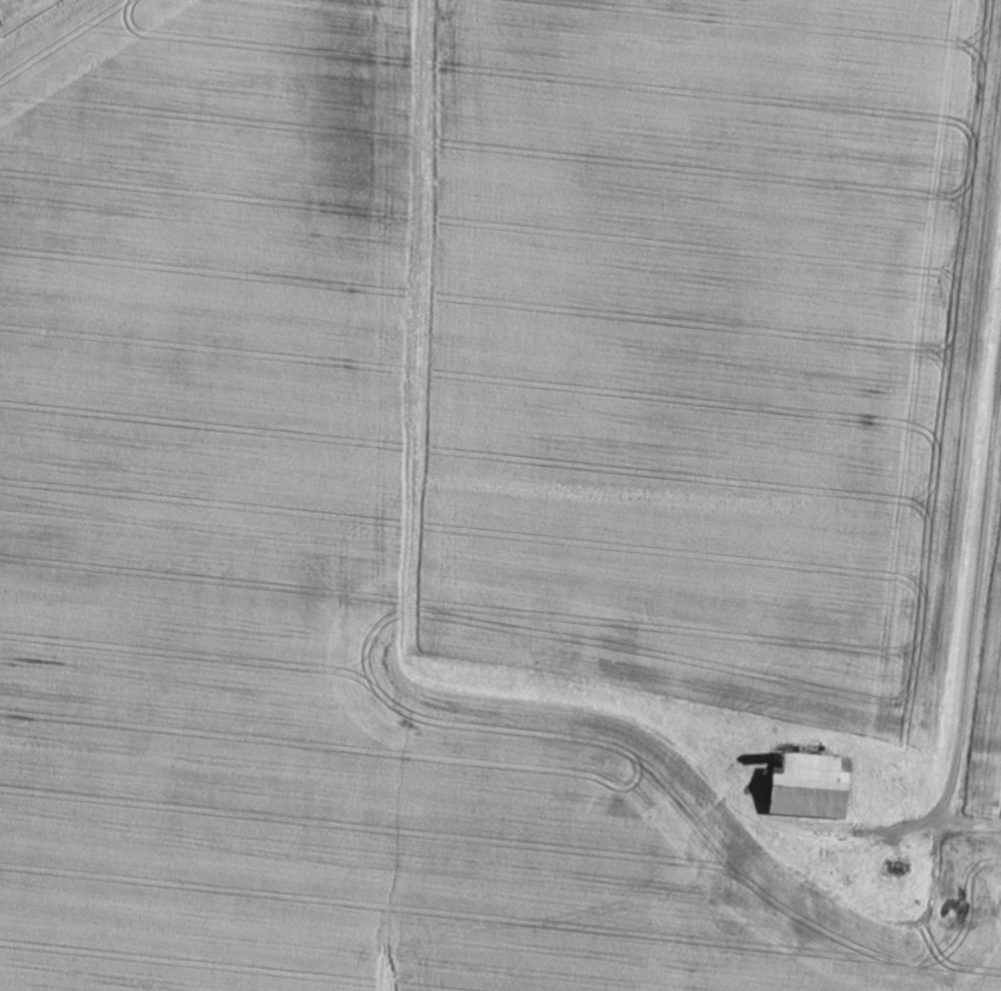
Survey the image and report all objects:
road: (977, 604)
building: (812, 789)

